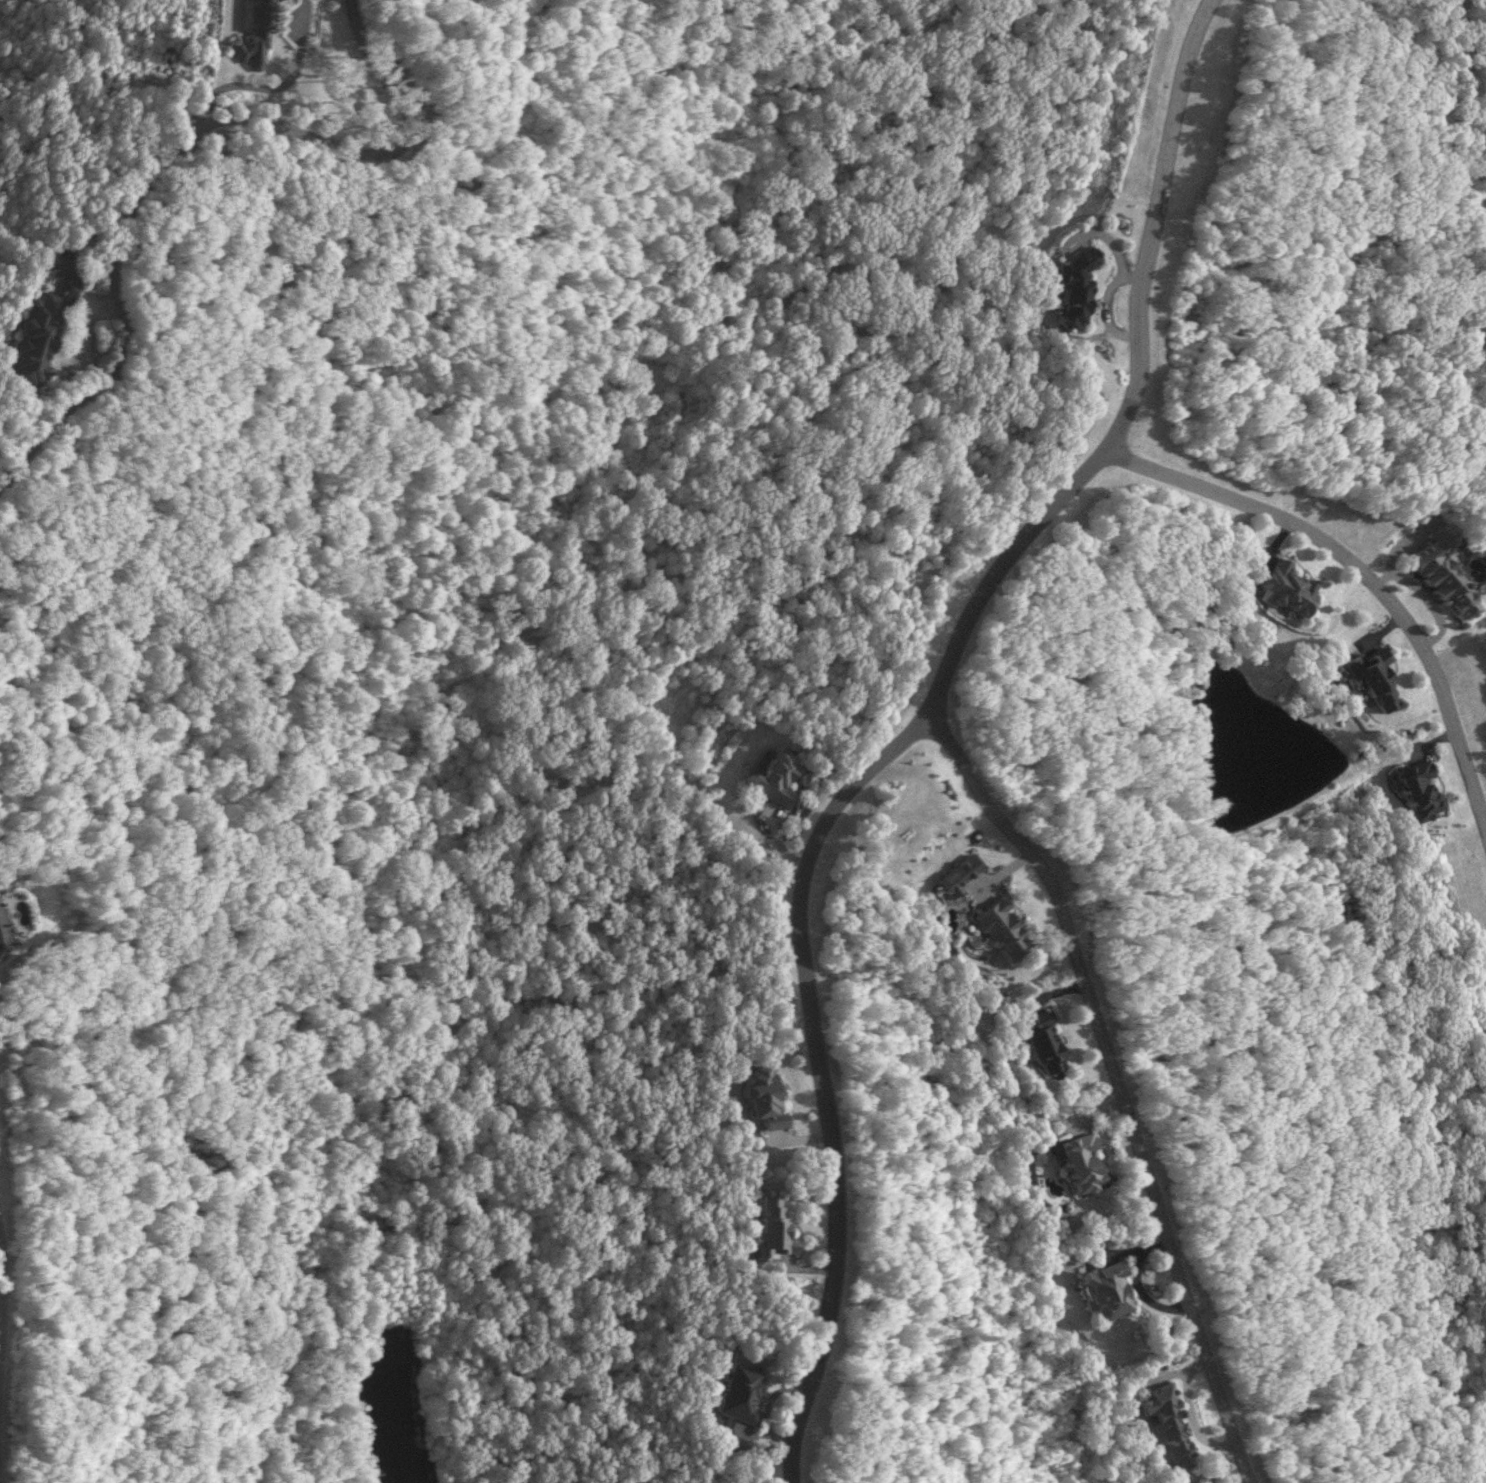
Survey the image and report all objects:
building: (261, 30)
road: (264, 86)
road: (173, 159)
building: (61, 264)
building: (1079, 287)
building: (41, 336)
road: (21, 438)
road: (1362, 566)
building: (1448, 580)
building: (1292, 588)
building: (1378, 678)
road: (914, 725)
building: (775, 778)
building: (1422, 790)
building: (1005, 930)
building: (1, 956)
building: (1046, 1044)
road: (1121, 1081)
building: (764, 1098)
building: (1084, 1164)
building: (775, 1228)
building: (1109, 1291)
building: (742, 1394)
building: (1171, 1428)

